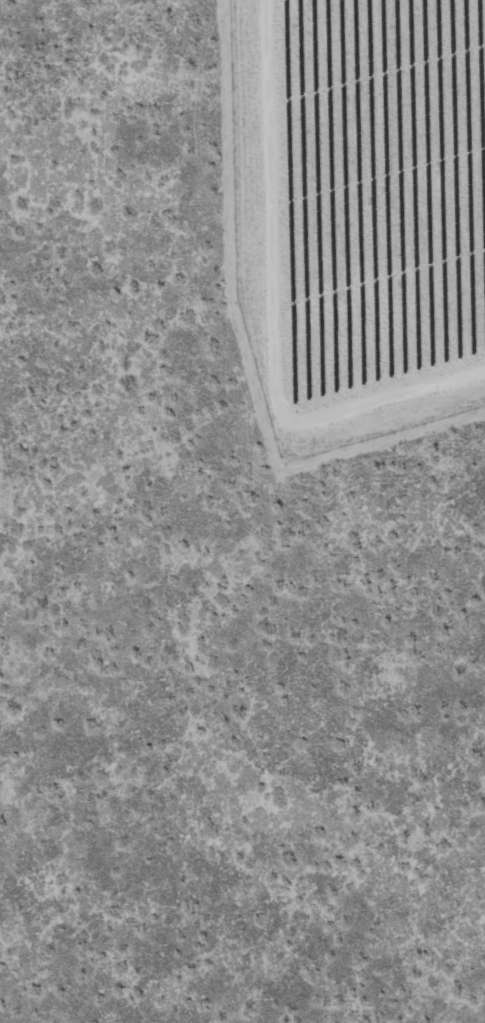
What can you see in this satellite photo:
solar farm: (359, 211)

